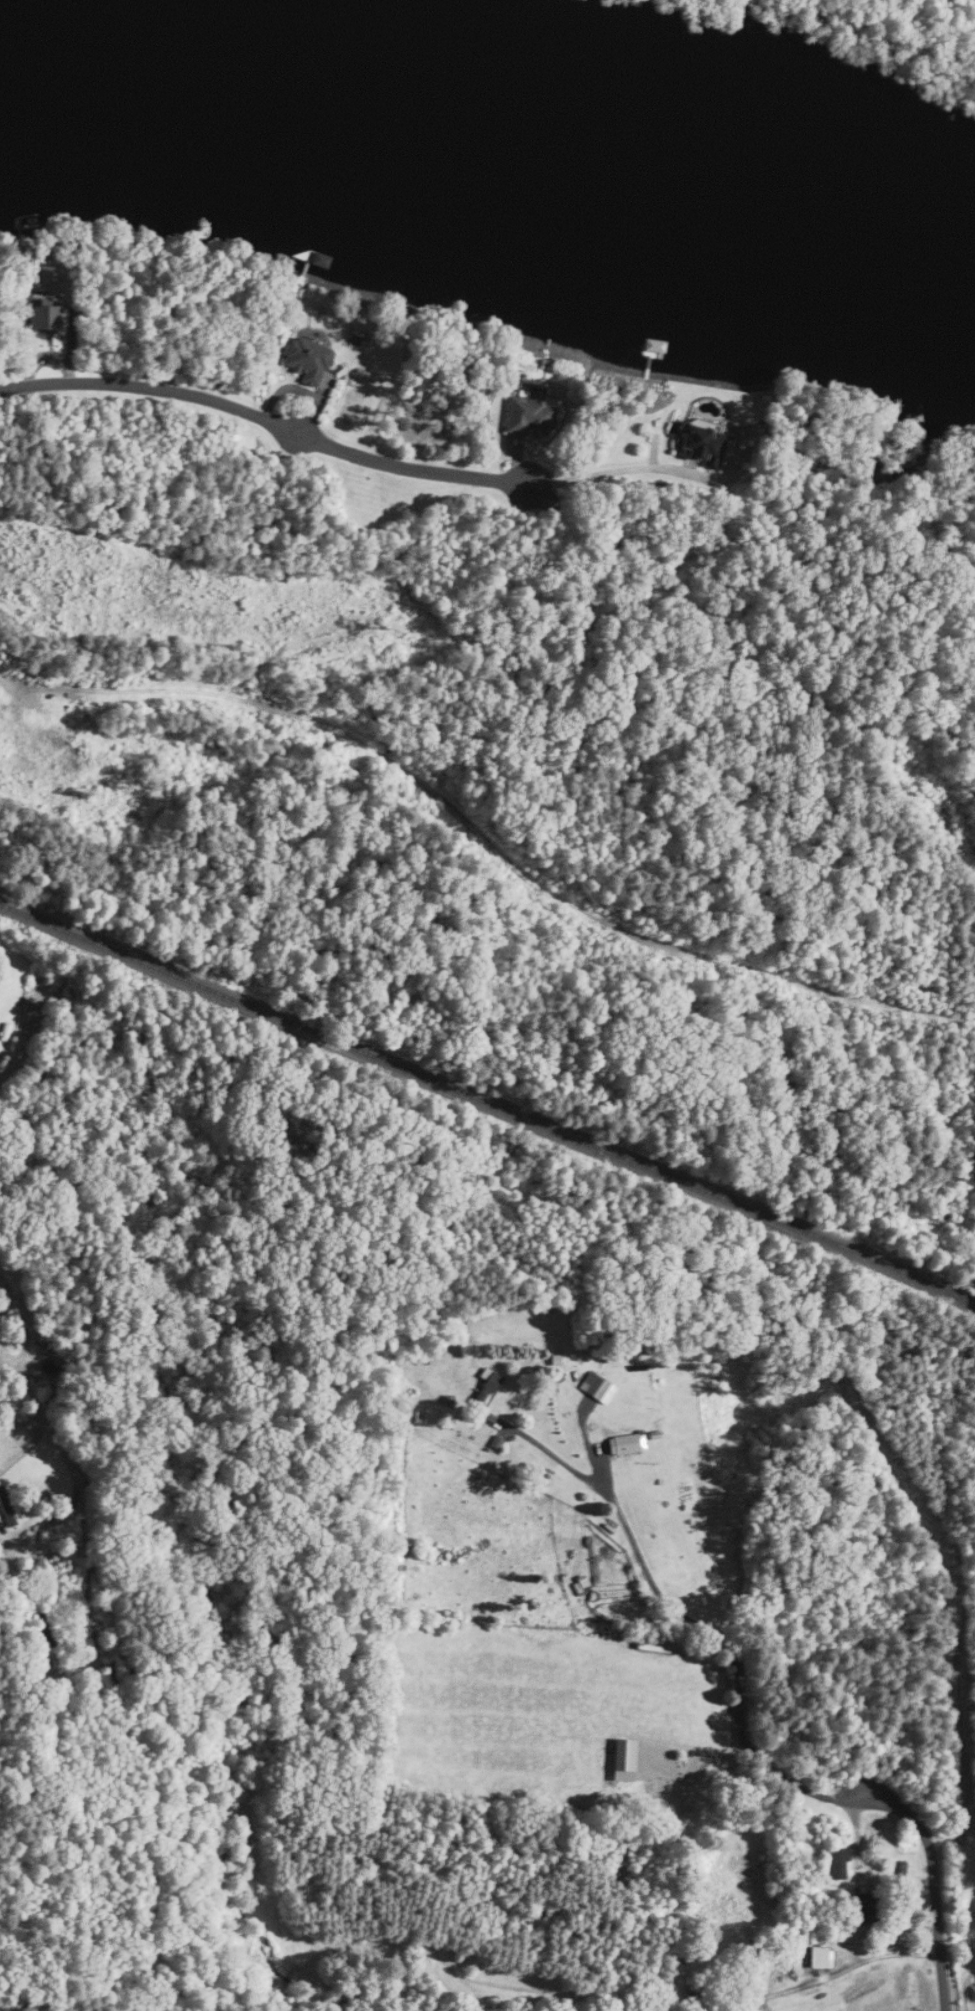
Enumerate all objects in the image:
river: (567, 106)
building: (309, 360)
building: (530, 416)
road: (267, 419)
building: (701, 444)
road: (631, 470)
railway: (488, 1109)
road: (2, 1281)
road: (2, 1299)
road: (23, 1335)
road: (42, 1422)
building: (628, 1444)
road: (543, 1448)
building: (9, 1507)
road: (0, 1524)
building: (55, 1657)
building: (625, 1755)
road: (769, 1771)
building: (837, 1863)
building: (863, 1908)
building: (820, 1957)
road: (834, 1972)

